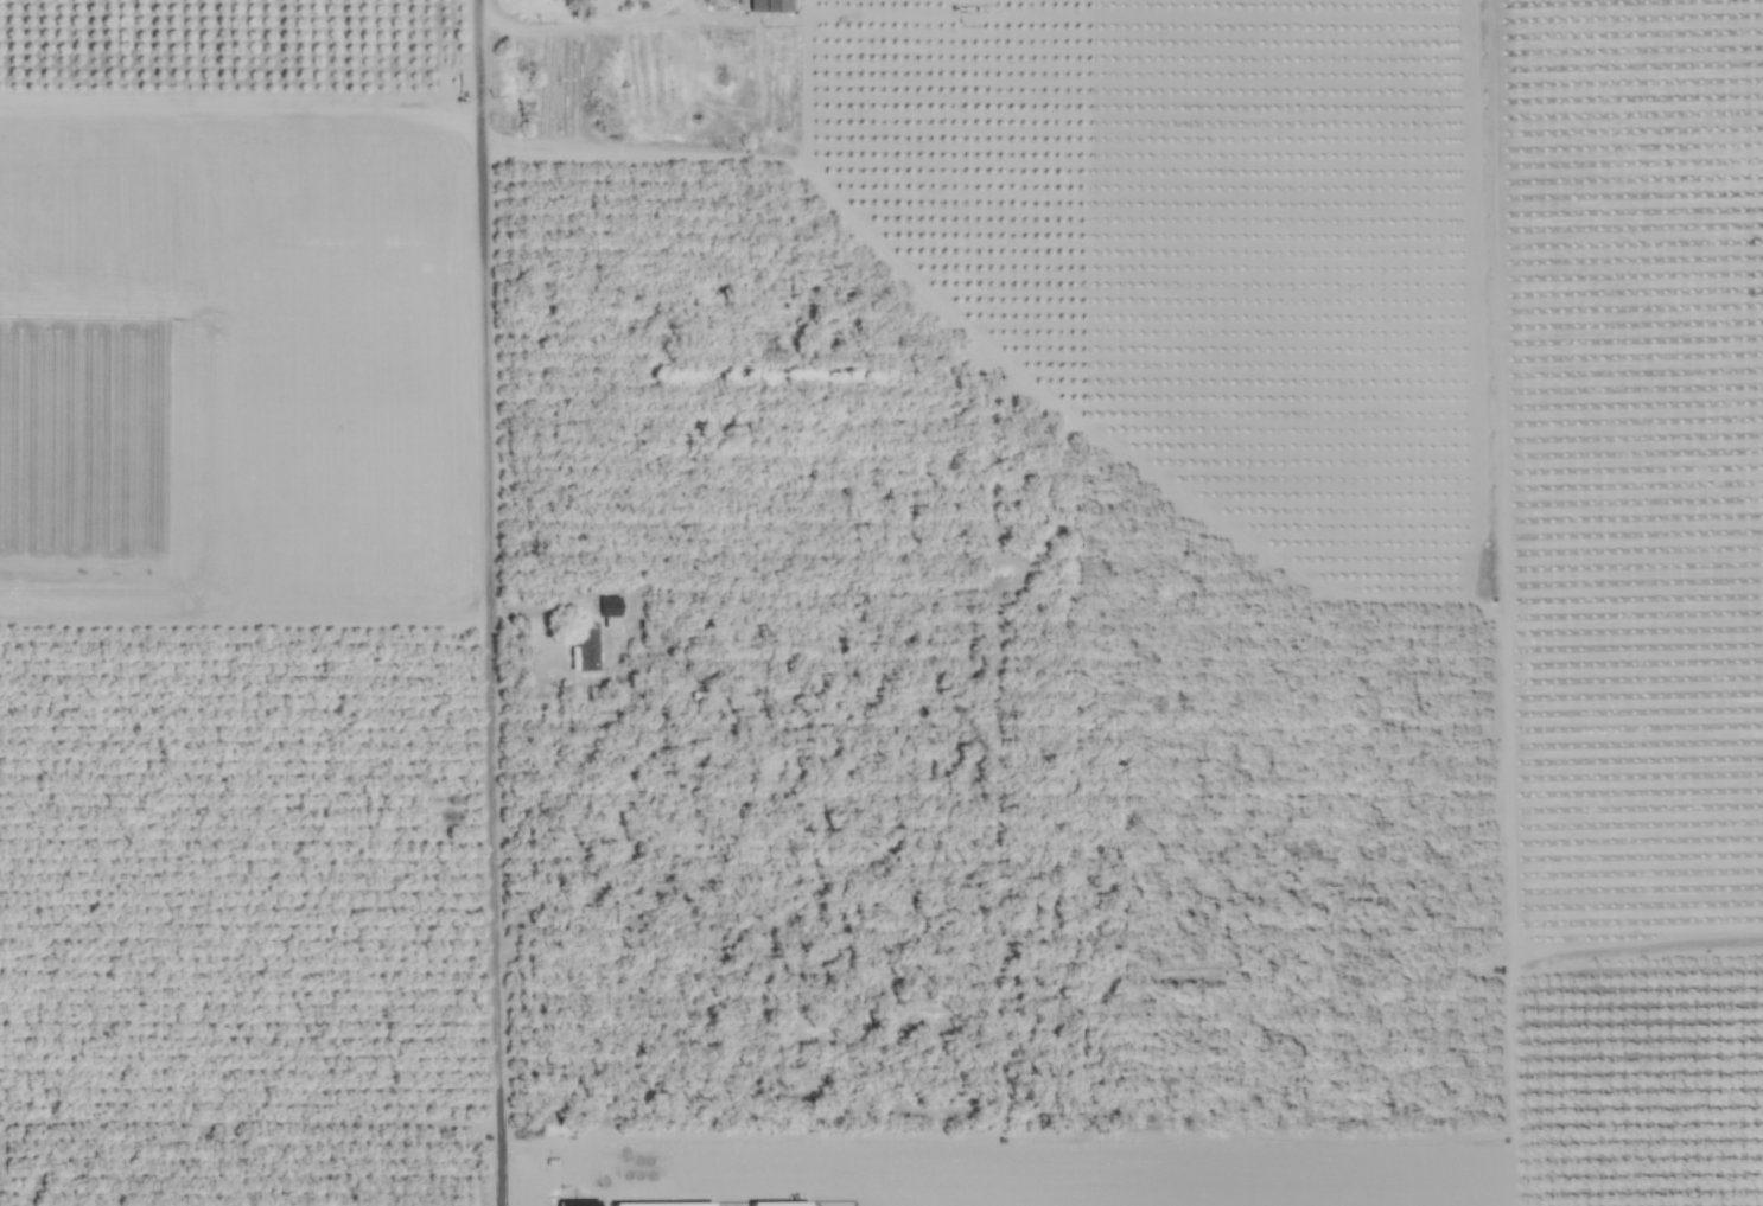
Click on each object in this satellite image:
building: (769, 5)
road: (580, 25)
road: (241, 100)
road: (484, 304)
road: (1221, 525)
road: (491, 906)
building: (578, 1202)
building: (779, 1204)

